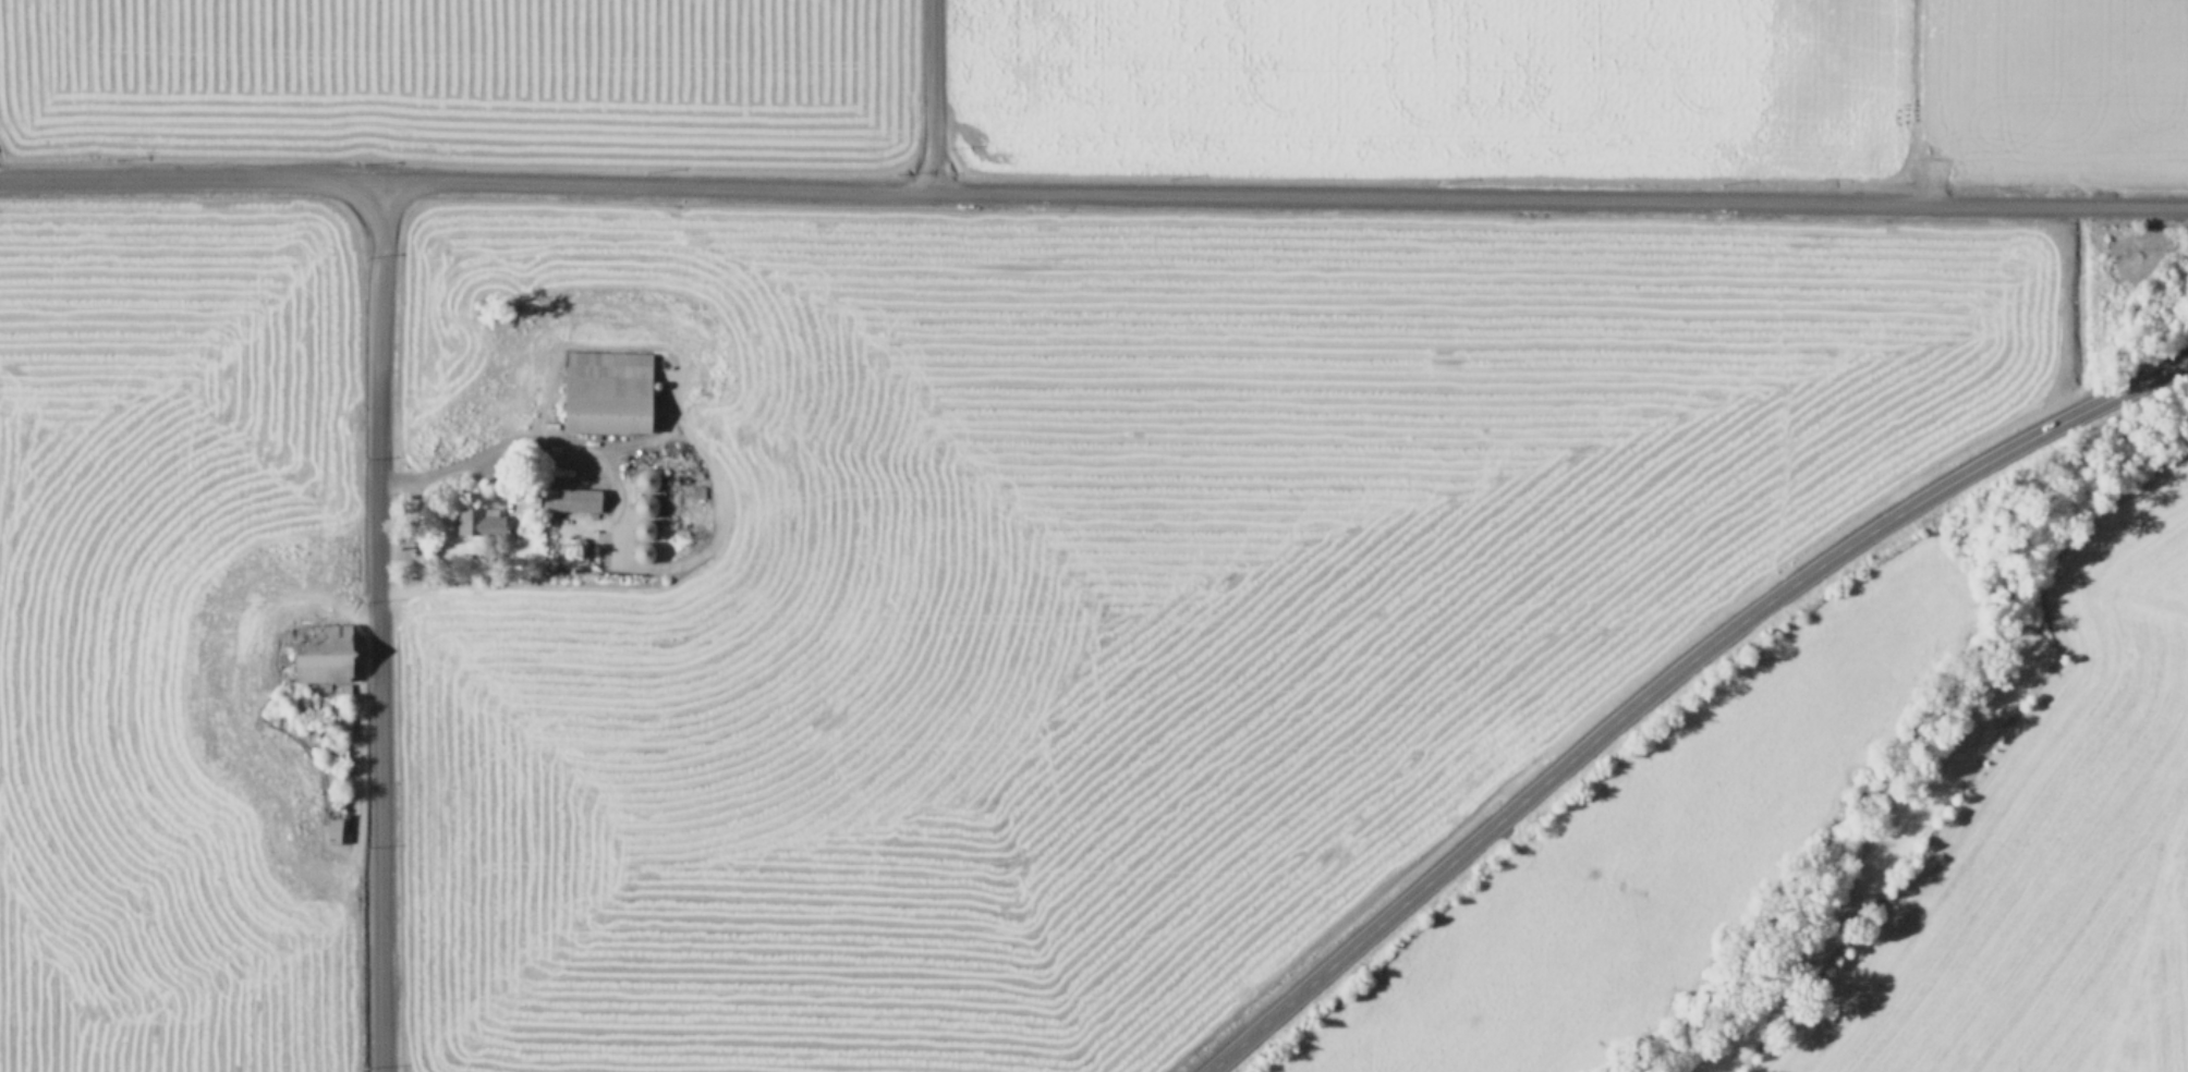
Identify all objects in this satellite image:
crop: (449, 72)
crop: (1583, 85)
road: (929, 95)
road: (1093, 191)
building: (607, 389)
road: (470, 450)
building: (571, 497)
building: (528, 499)
building: (478, 520)
crop: (1143, 621)
road: (375, 624)
crop: (178, 635)
building: (321, 650)
road: (1667, 674)
crop: (2006, 837)

